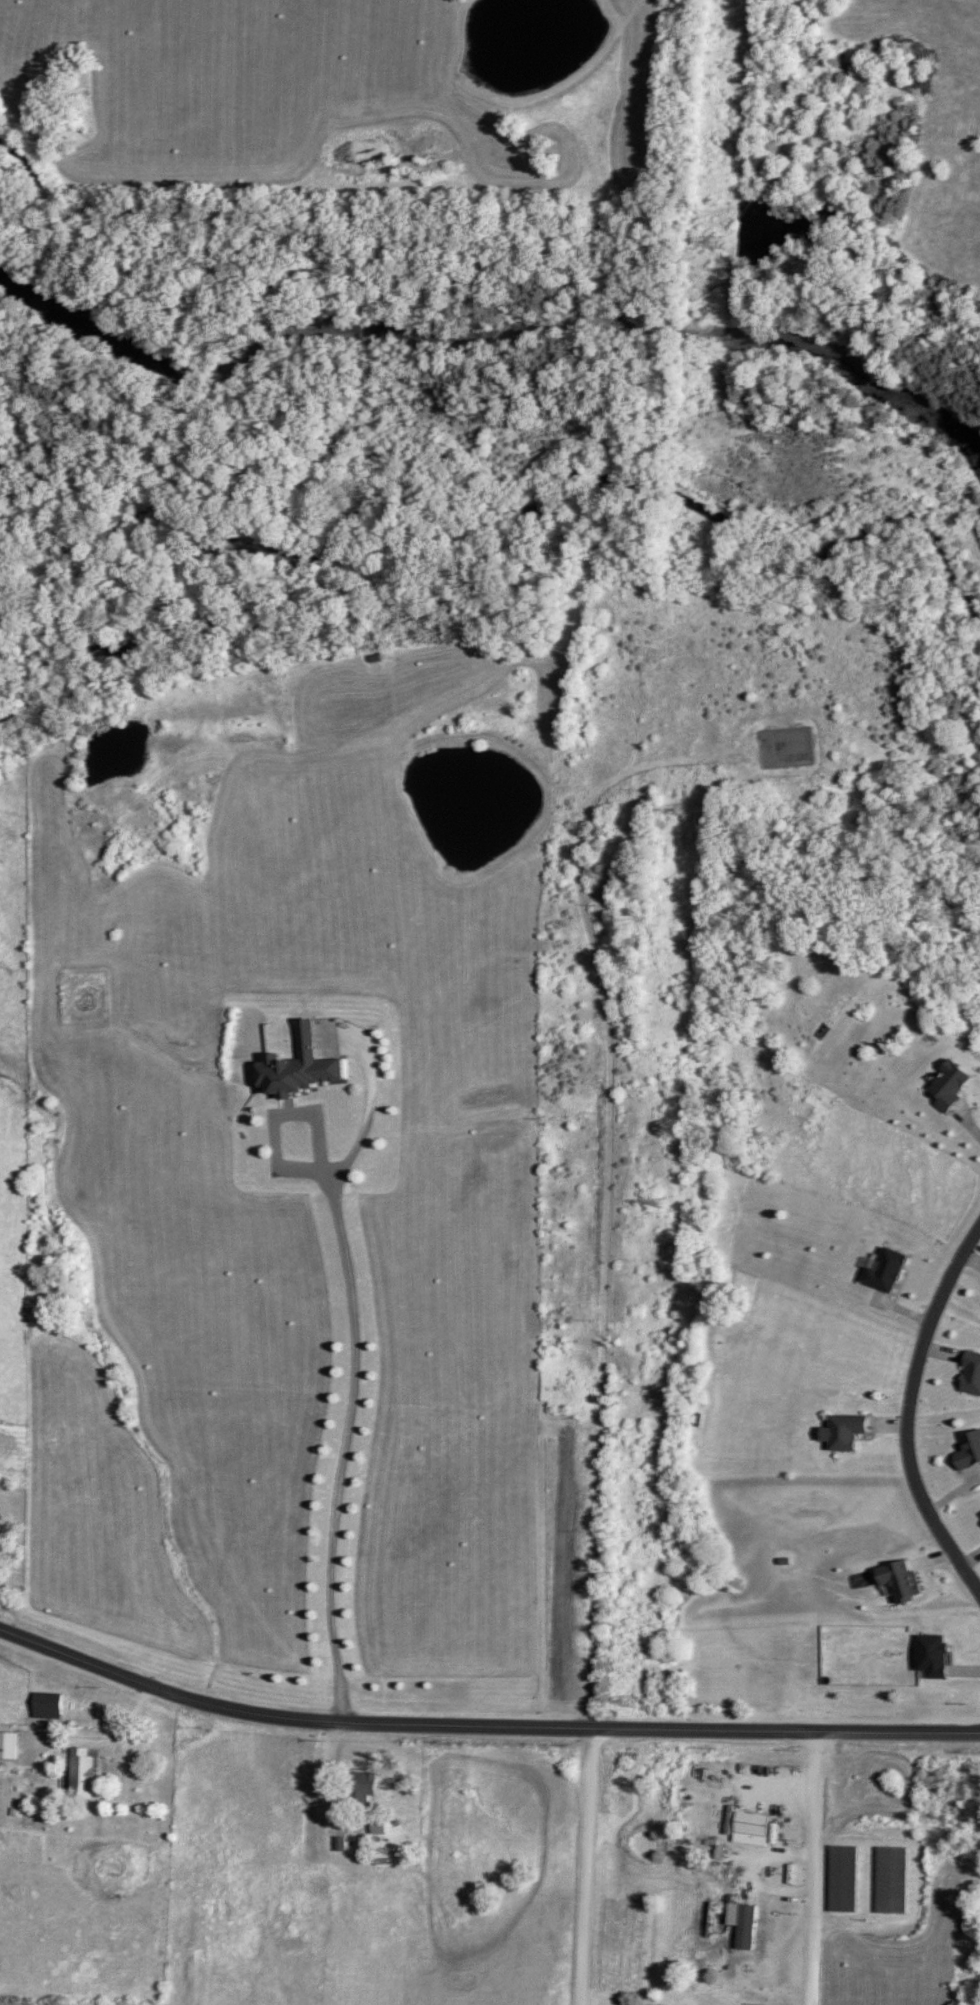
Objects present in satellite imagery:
power tower: (721, 242)
power tower: (681, 811)
building: (299, 1069)
building: (952, 1087)
power tower: (659, 1202)
building: (885, 1271)
road: (351, 1371)
building: (972, 1375)
road: (906, 1411)
building: (848, 1432)
building: (969, 1451)
building: (902, 1581)
power tower: (627, 1703)
building: (48, 1706)
road: (483, 1727)
building: (8, 1747)
building: (80, 1773)
building: (366, 1787)
road: (323, 1789)
building: (752, 1825)
road: (588, 1868)
road: (816, 1869)
building: (843, 1879)
building: (891, 1881)

